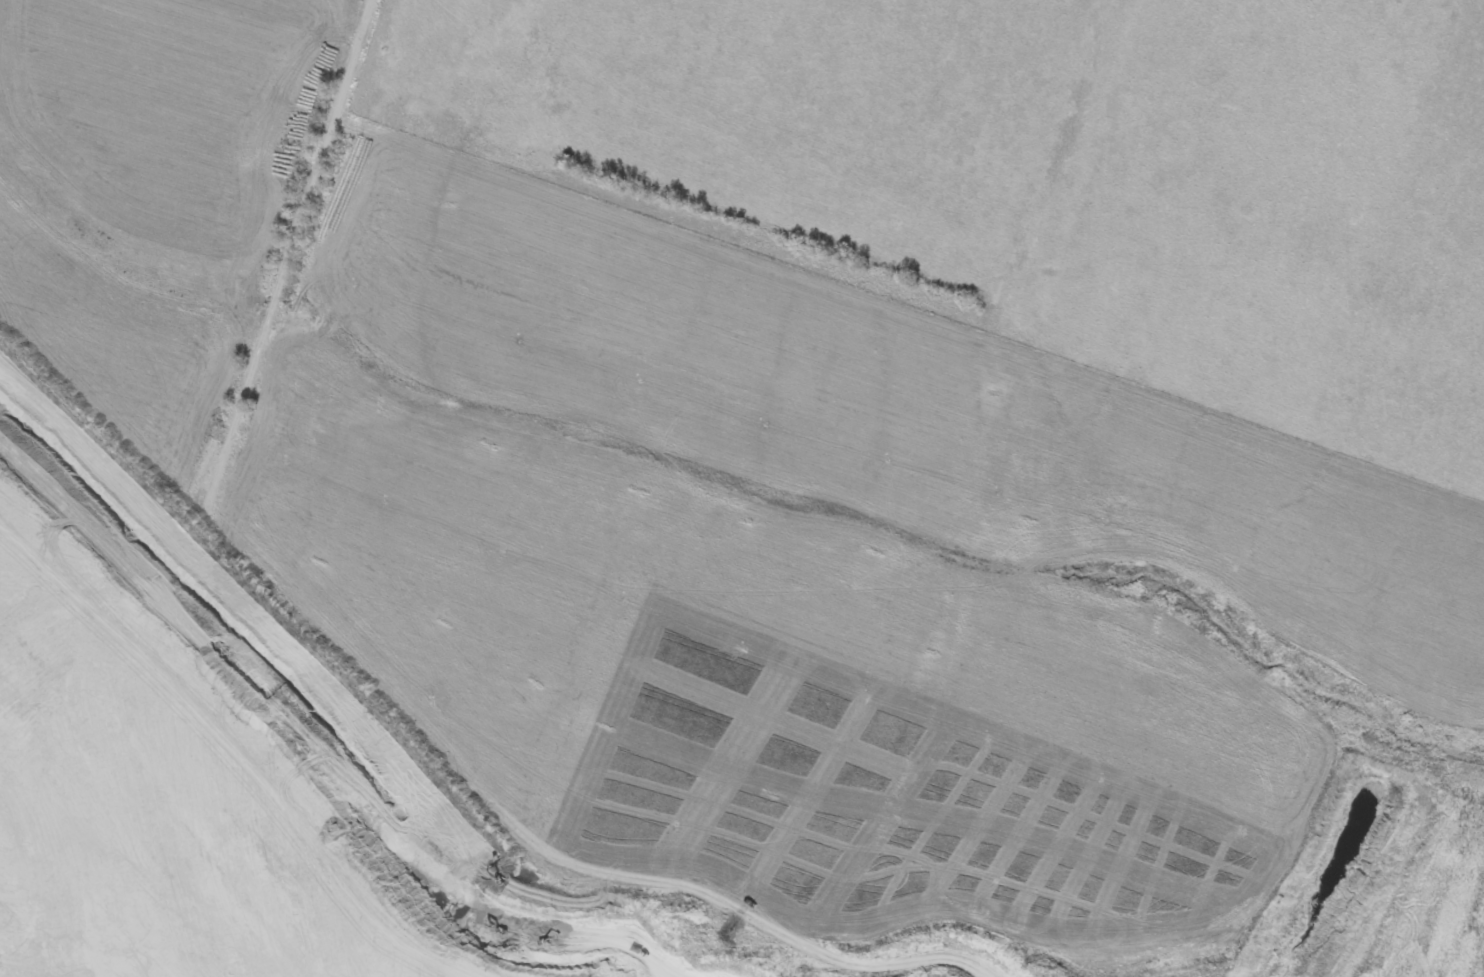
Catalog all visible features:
road: (288, 304)
road: (221, 753)

